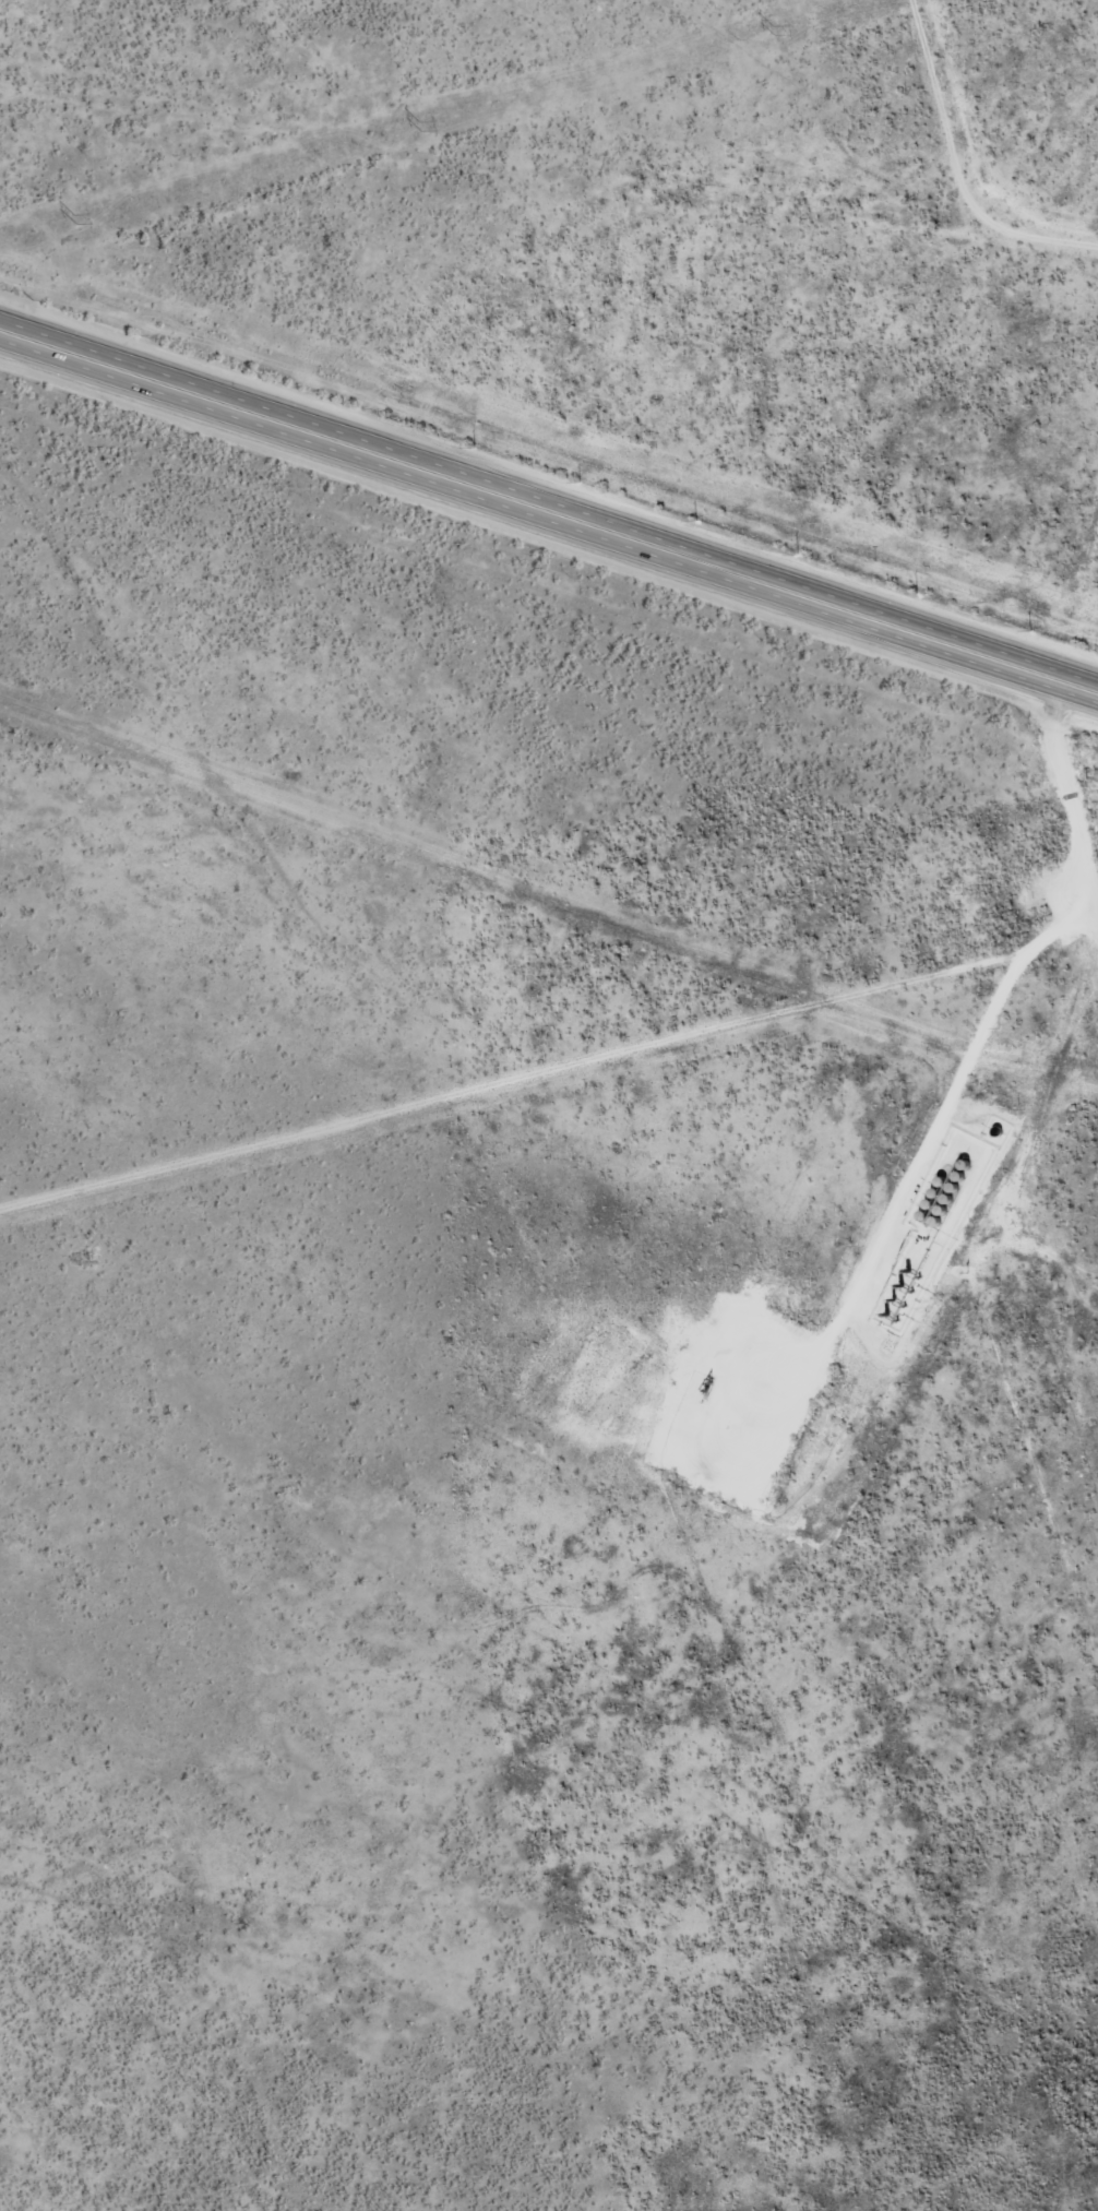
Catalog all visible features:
power tower: (774, 32)
power tower: (420, 122)
power tower: (73, 218)
road: (548, 503)
road: (1071, 700)
road: (549, 1092)

